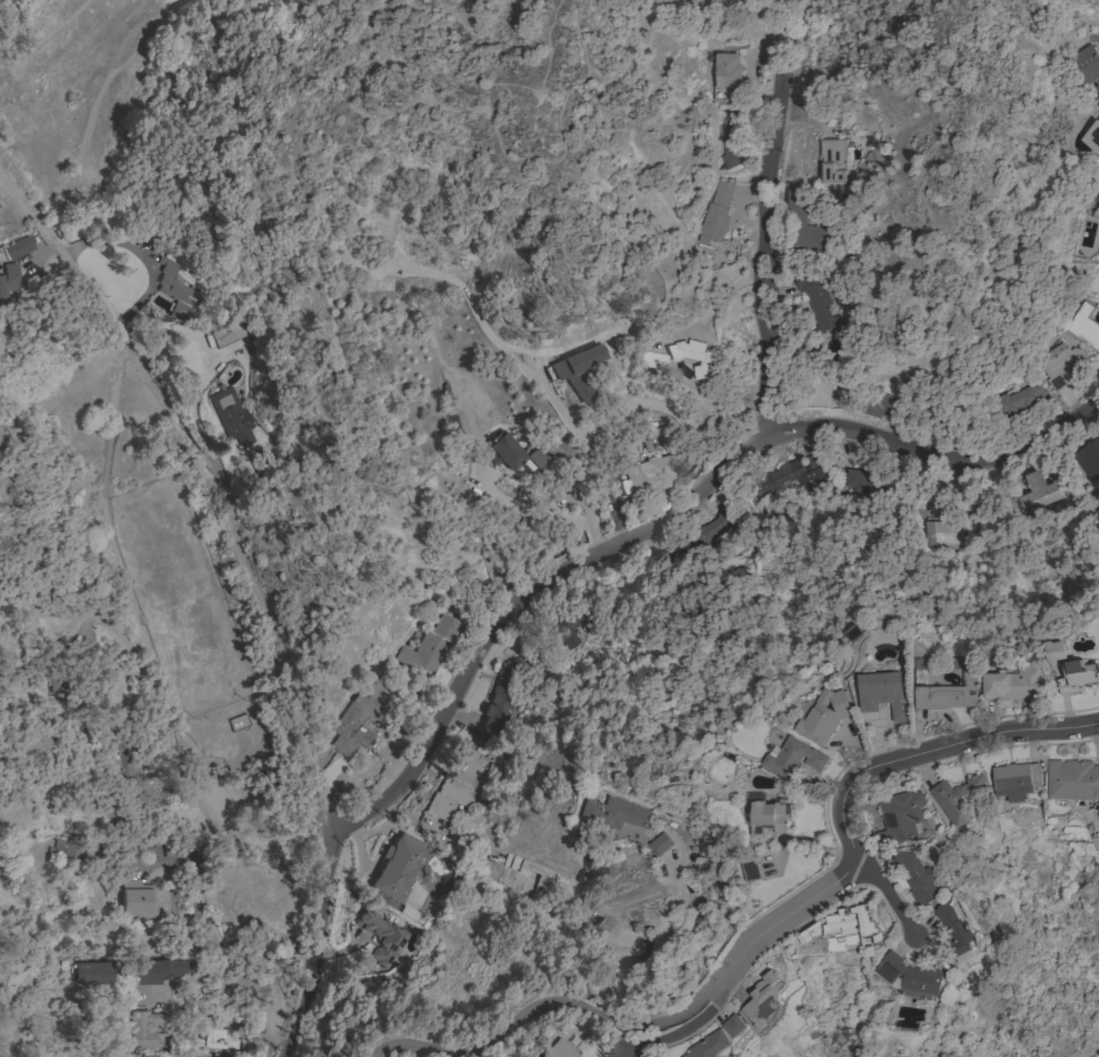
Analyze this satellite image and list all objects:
road: (44, 36)
building: (1084, 66)
building: (725, 75)
road: (491, 84)
building: (1, 85)
road: (95, 100)
building: (2, 103)
road: (486, 117)
building: (1091, 136)
building: (730, 149)
building: (832, 161)
road: (3, 176)
building: (1098, 195)
building: (715, 213)
building: (802, 224)
building: (154, 233)
building: (21, 246)
road: (768, 261)
building: (8, 284)
building: (177, 288)
building: (815, 294)
building: (1082, 324)
building: (227, 332)
building: (693, 355)
road: (208, 359)
building: (650, 359)
building: (1060, 365)
building: (570, 371)
road: (148, 377)
building: (1020, 402)
building: (883, 404)
building: (231, 416)
building: (954, 417)
building: (514, 453)
building: (1089, 459)
building: (813, 460)
building: (652, 473)
building: (788, 478)
building: (868, 480)
building: (1038, 492)
road: (546, 512)
road: (676, 522)
building: (708, 527)
building: (939, 528)
building: (656, 560)
road: (108, 606)
building: (571, 620)
building: (852, 632)
building: (429, 646)
building: (1055, 650)
building: (942, 663)
building: (1076, 676)
building: (1013, 684)
building: (501, 689)
building: (877, 689)
building: (947, 693)
building: (898, 711)
building: (363, 716)
building: (823, 716)
building: (238, 722)
building: (791, 758)
building: (124, 765)
building: (1072, 780)
building: (1014, 781)
building: (454, 783)
building: (957, 797)
building: (612, 812)
building: (768, 817)
building: (899, 817)
road: (333, 829)
building: (660, 843)
building: (135, 848)
building: (169, 848)
building: (56, 850)
road: (253, 850)
building: (395, 868)
building: (751, 869)
building: (915, 877)
building: (2, 891)
building: (135, 899)
road: (888, 899)
building: (839, 924)
road: (767, 927)
building: (953, 927)
building: (382, 937)
road: (258, 939)
building: (158, 970)
building: (88, 974)
building: (909, 976)
road: (238, 979)
building: (762, 999)
building: (732, 1025)
building: (145, 1029)
road: (682, 1032)
building: (218, 1037)
building: (708, 1045)
building: (554, 1049)
building: (128, 1055)
building: (152, 1055)
building: (215, 1055)

